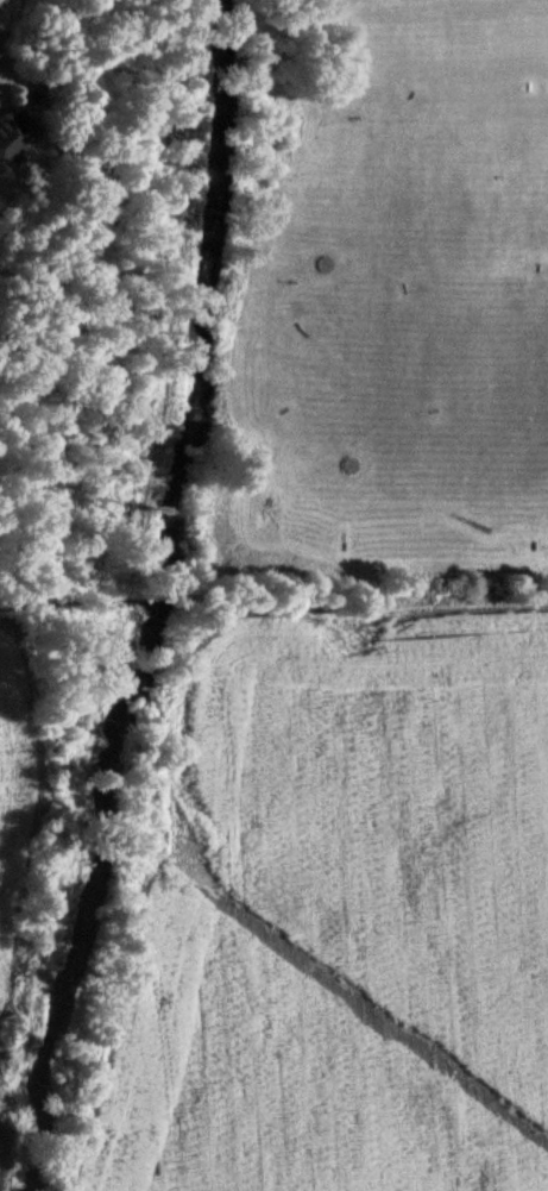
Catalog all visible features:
building: (11, 130)

